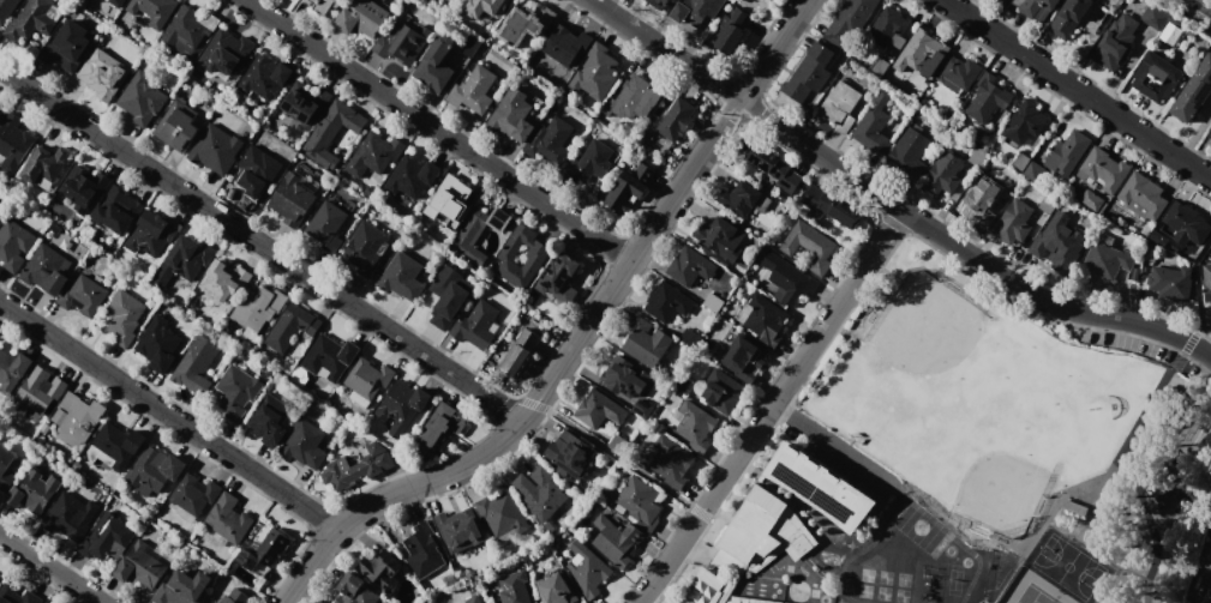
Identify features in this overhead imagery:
road: (1209, 0)
building: (115, 2)
building: (658, 4)
building: (324, 6)
building: (484, 7)
building: (1035, 8)
building: (7, 10)
building: (152, 10)
building: (695, 11)
building: (1155, 16)
building: (361, 17)
building: (1068, 17)
building: (35, 18)
building: (524, 23)
building: (849, 23)
building: (886, 26)
building: (184, 30)
building: (731, 31)
building: (1115, 42)
building: (403, 43)
building: (565, 44)
building: (67, 47)
building: (469, 47)
road: (663, 50)
building: (224, 52)
building: (921, 53)
building: (434, 62)
building: (809, 72)
building: (958, 72)
building: (594, 73)
building: (103, 74)
building: (264, 77)
building: (1155, 77)
building: (473, 90)
road: (1077, 90)
building: (1193, 91)
building: (988, 97)
building: (142, 100)
building: (636, 100)
building: (304, 102)
building: (840, 105)
building: (1, 110)
building: (511, 114)
building: (676, 119)
building: (1024, 122)
building: (176, 125)
building: (873, 126)
road: (437, 131)
building: (330, 132)
building: (1210, 134)
building: (12, 143)
building: (550, 143)
building: (215, 149)
building: (909, 152)
building: (1066, 152)
building: (373, 153)
road: (820, 157)
building: (592, 161)
building: (44, 163)
building: (774, 168)
building: (1103, 168)
building: (256, 169)
building: (1031, 169)
building: (942, 174)
building: (410, 176)
building: (83, 187)
building: (627, 188)
building: (292, 195)
building: (1141, 195)
building: (738, 198)
building: (979, 200)
building: (1090, 200)
building: (449, 201)
building: (831, 207)
building: (0, 211)
building: (116, 211)
building: (325, 222)
building: (1013, 222)
building: (1185, 223)
building: (478, 233)
building: (150, 234)
building: (720, 237)
building: (13, 243)
building: (1056, 243)
road: (262, 245)
building: (811, 246)
building: (365, 247)
road: (954, 247)
road: (876, 249)
building: (521, 257)
building: (182, 260)
building: (1104, 261)
building: (689, 266)
building: (44, 270)
building: (401, 277)
building: (559, 278)
building: (787, 279)
building: (224, 281)
building: (1170, 282)
building: (1206, 282)
building: (83, 295)
building: (448, 295)
building: (667, 303)
building: (257, 307)
building: (122, 316)
road: (1097, 316)
building: (765, 320)
building: (476, 325)
building: (290, 327)
road: (578, 339)
building: (645, 342)
building: (157, 344)
road: (1200, 351)
building: (518, 354)
building: (329, 356)
building: (742, 356)
building: (196, 367)
building: (12, 368)
building: (621, 375)
building: (368, 378)
building: (40, 392)
building: (236, 392)
building: (721, 392)
building: (401, 405)
building: (599, 409)
road: (785, 410)
road: (1147, 416)
road: (168, 417)
building: (76, 418)
building: (268, 420)
building: (694, 426)
building: (439, 427)
park: (1019, 428)
building: (118, 444)
building: (304, 444)
road: (744, 446)
road: (845, 450)
building: (569, 456)
road: (619, 457)
building: (670, 462)
building: (6, 466)
building: (356, 466)
building: (155, 469)
building: (821, 487)
building: (32, 492)
building: (544, 493)
building: (193, 494)
building: (637, 499)
building: (502, 513)
building: (67, 517)
road: (1047, 517)
building: (227, 519)
building: (753, 526)
building: (458, 529)
building: (107, 538)
building: (615, 541)
building: (263, 550)
building: (422, 550)
building: (139, 567)
road: (48, 569)
building: (587, 569)
building: (383, 572)
building: (1210, 573)
building: (181, 587)
building: (703, 587)
building: (514, 589)
building: (556, 589)
park: (1029, 589)
building: (354, 590)
building: (234, 595)
building: (16, 596)
building: (1207, 597)
building: (472, 599)
building: (748, 601)

